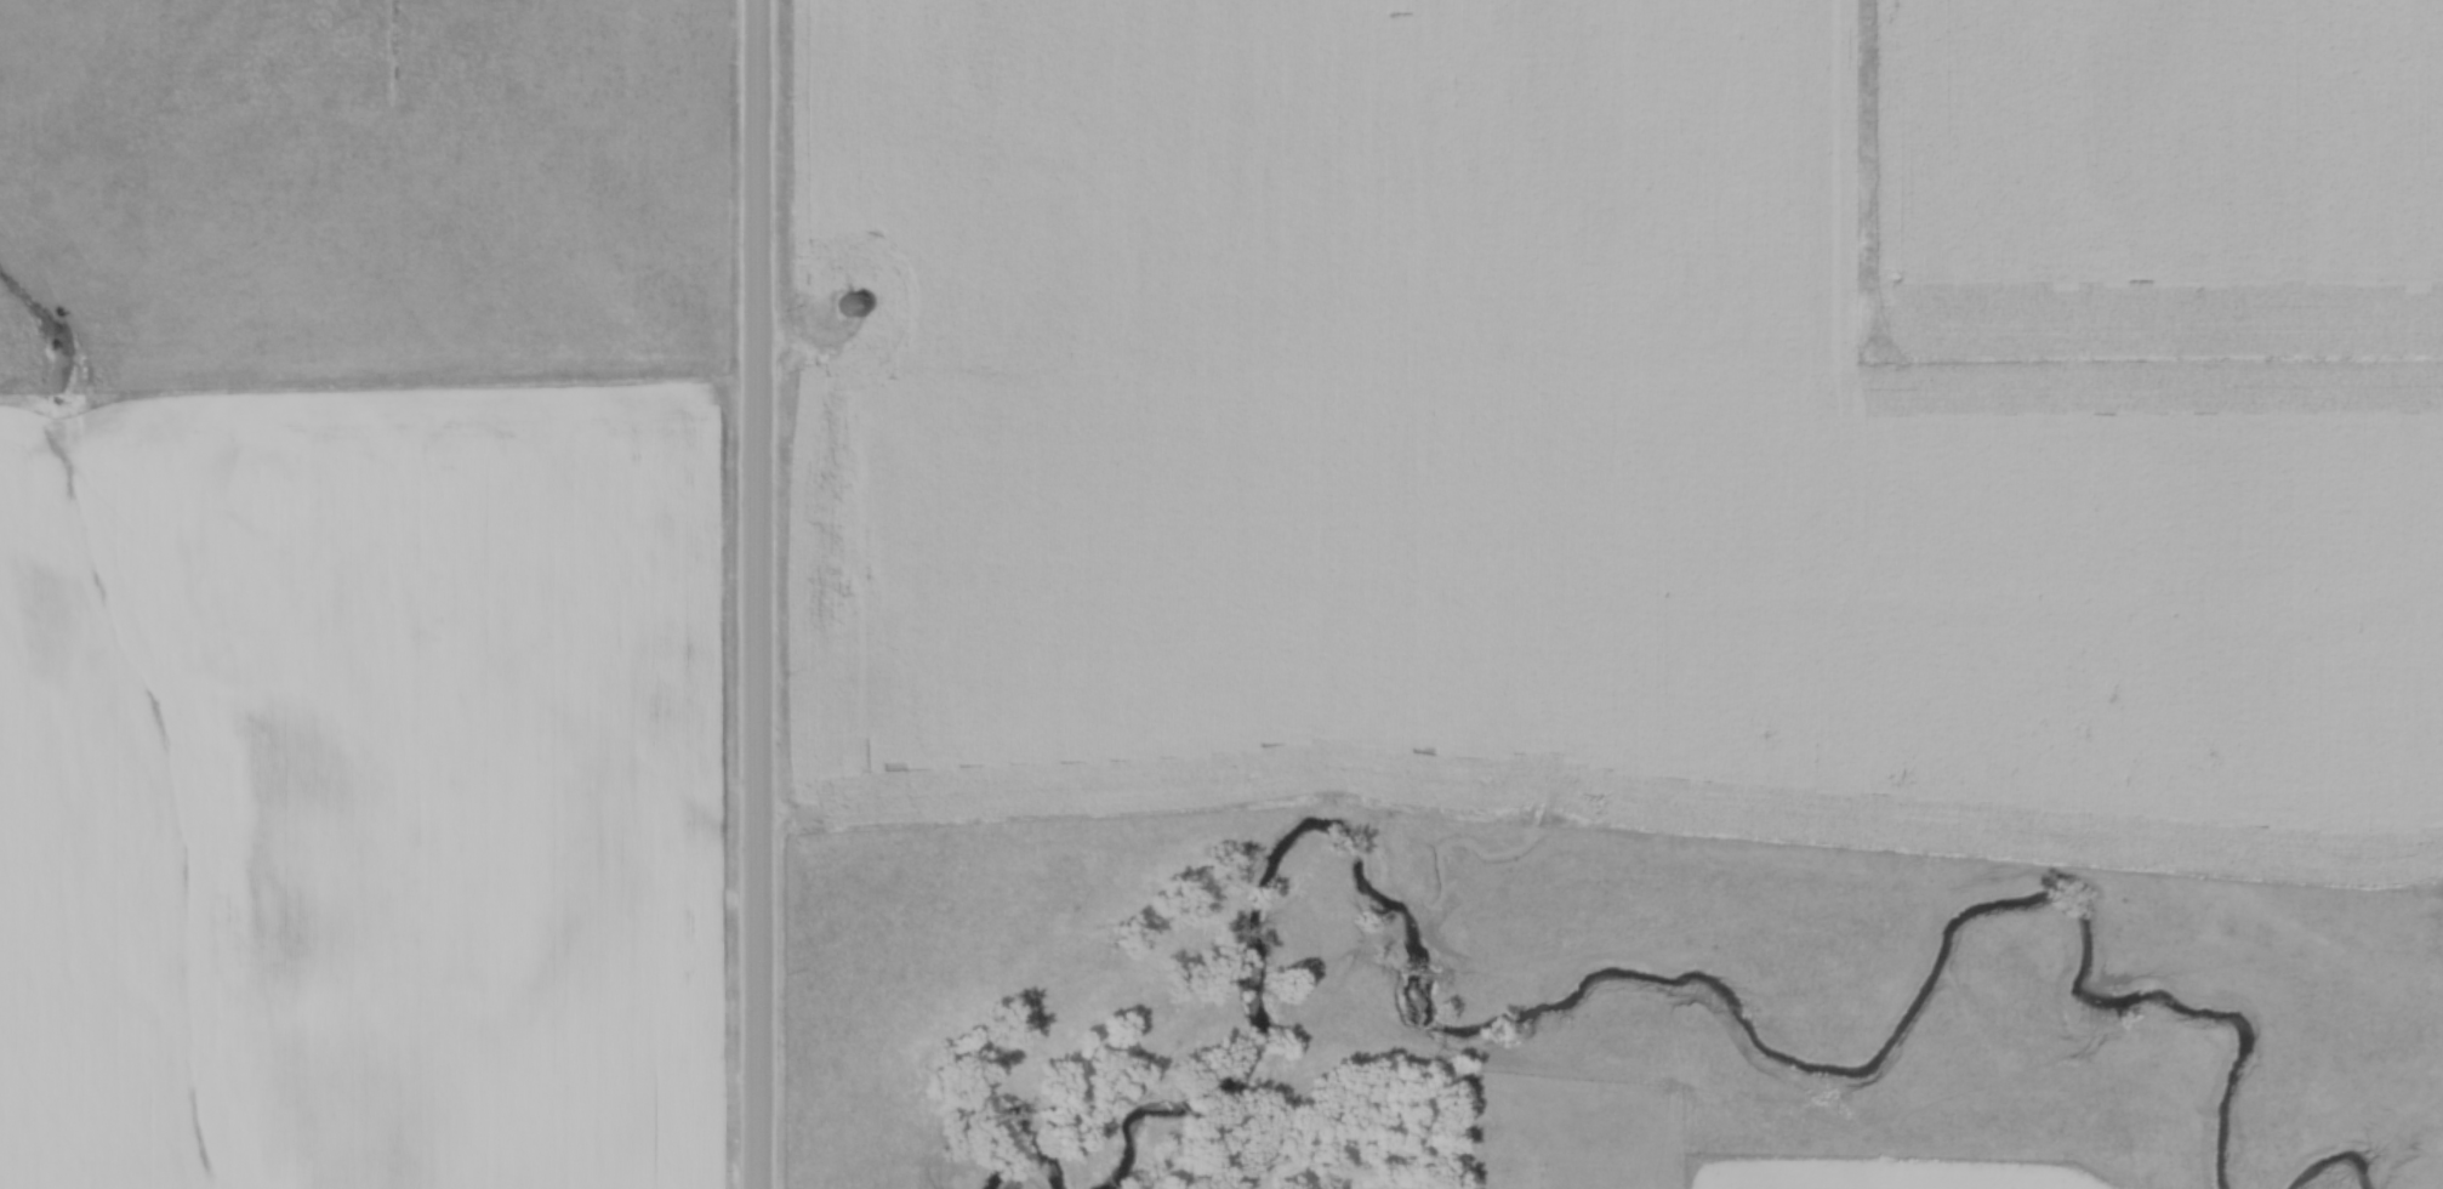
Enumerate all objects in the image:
crop: (2169, 172)
building: (847, 303)
road: (758, 594)
river: (1674, 979)
river: (1026, 1117)
river: (2323, 1161)

